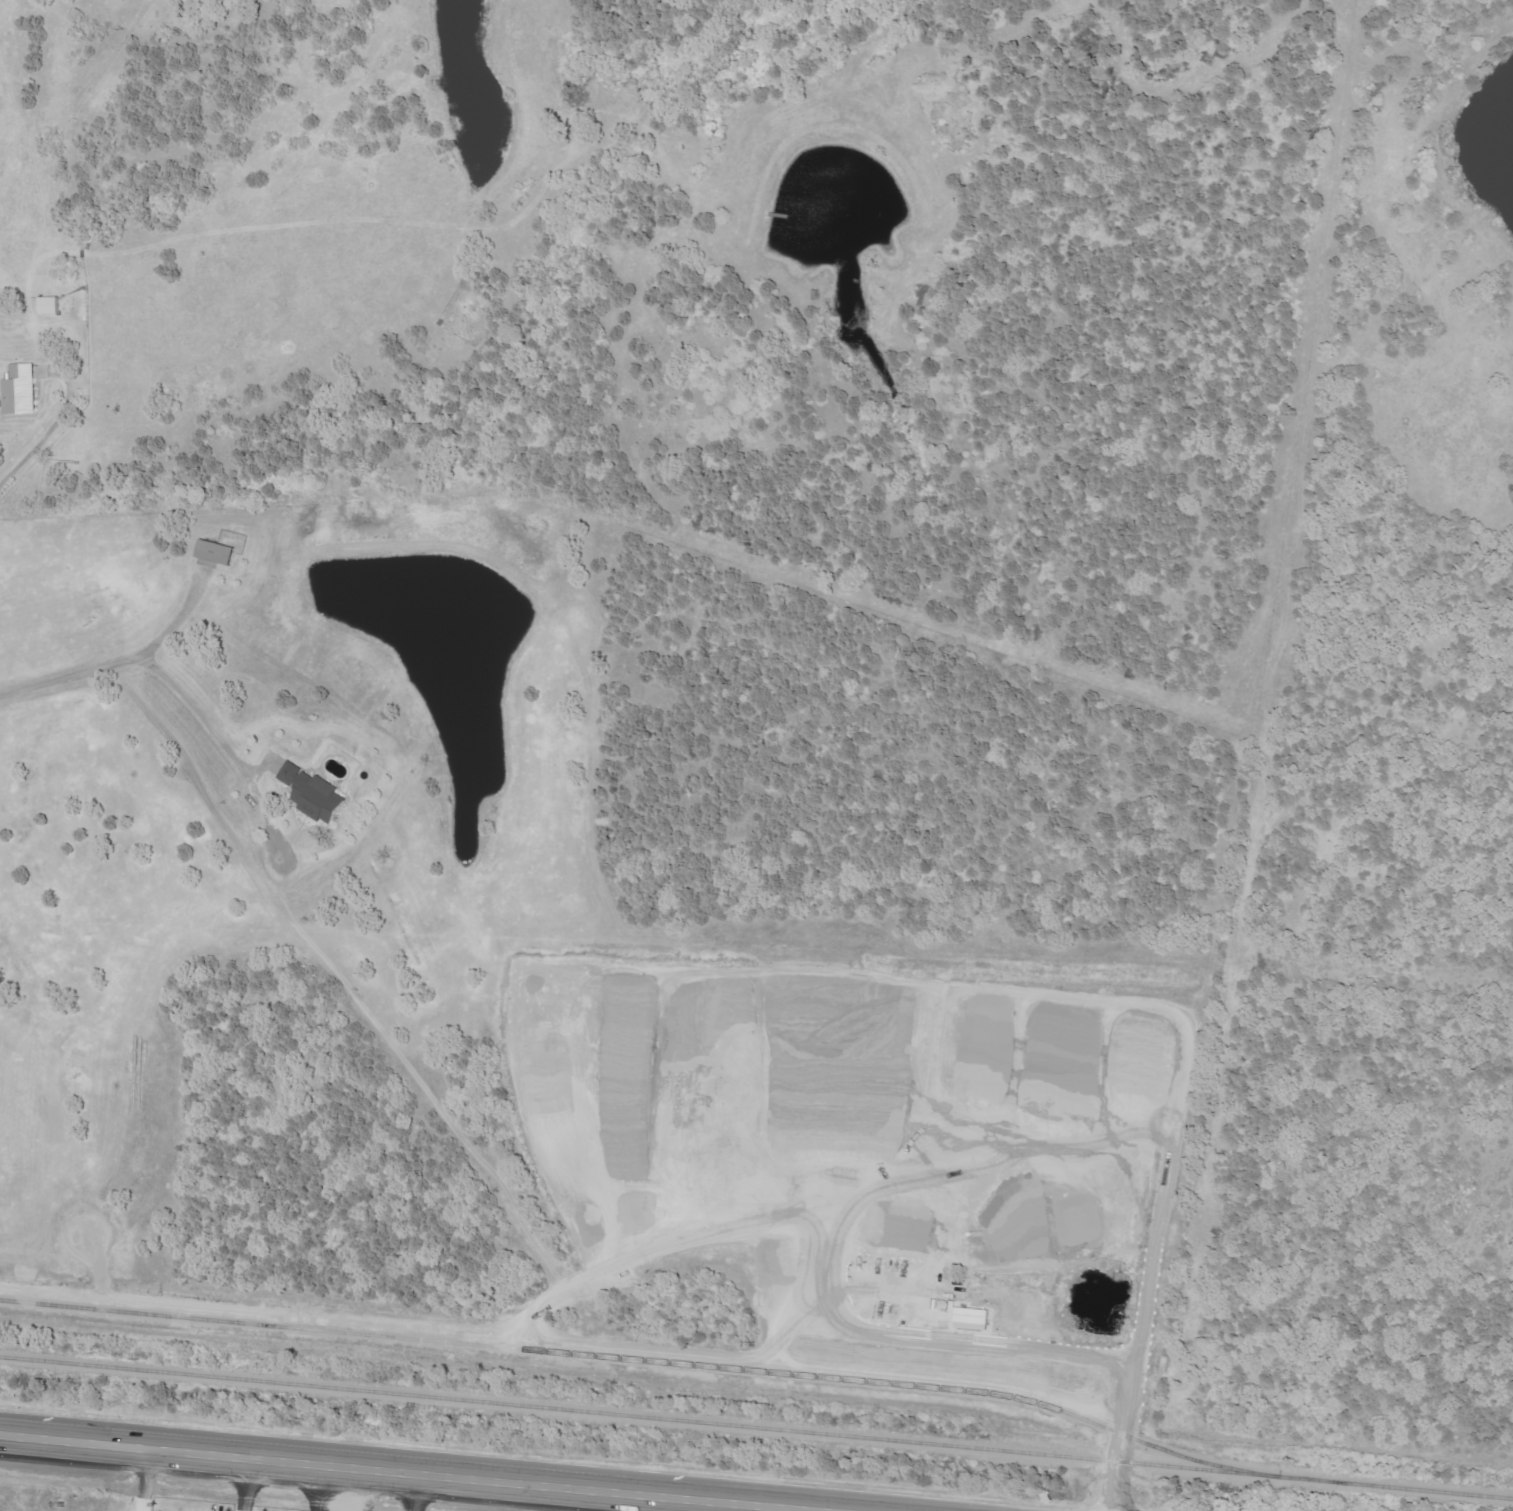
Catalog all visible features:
road: (30, 304)
building: (54, 306)
building: (22, 390)
building: (219, 553)
road: (181, 692)
building: (317, 793)
building: (976, 1319)
road: (616, 1345)
railway: (756, 1426)
road: (407, 1472)
road: (147, 1480)
road: (246, 1484)
road: (417, 1492)

